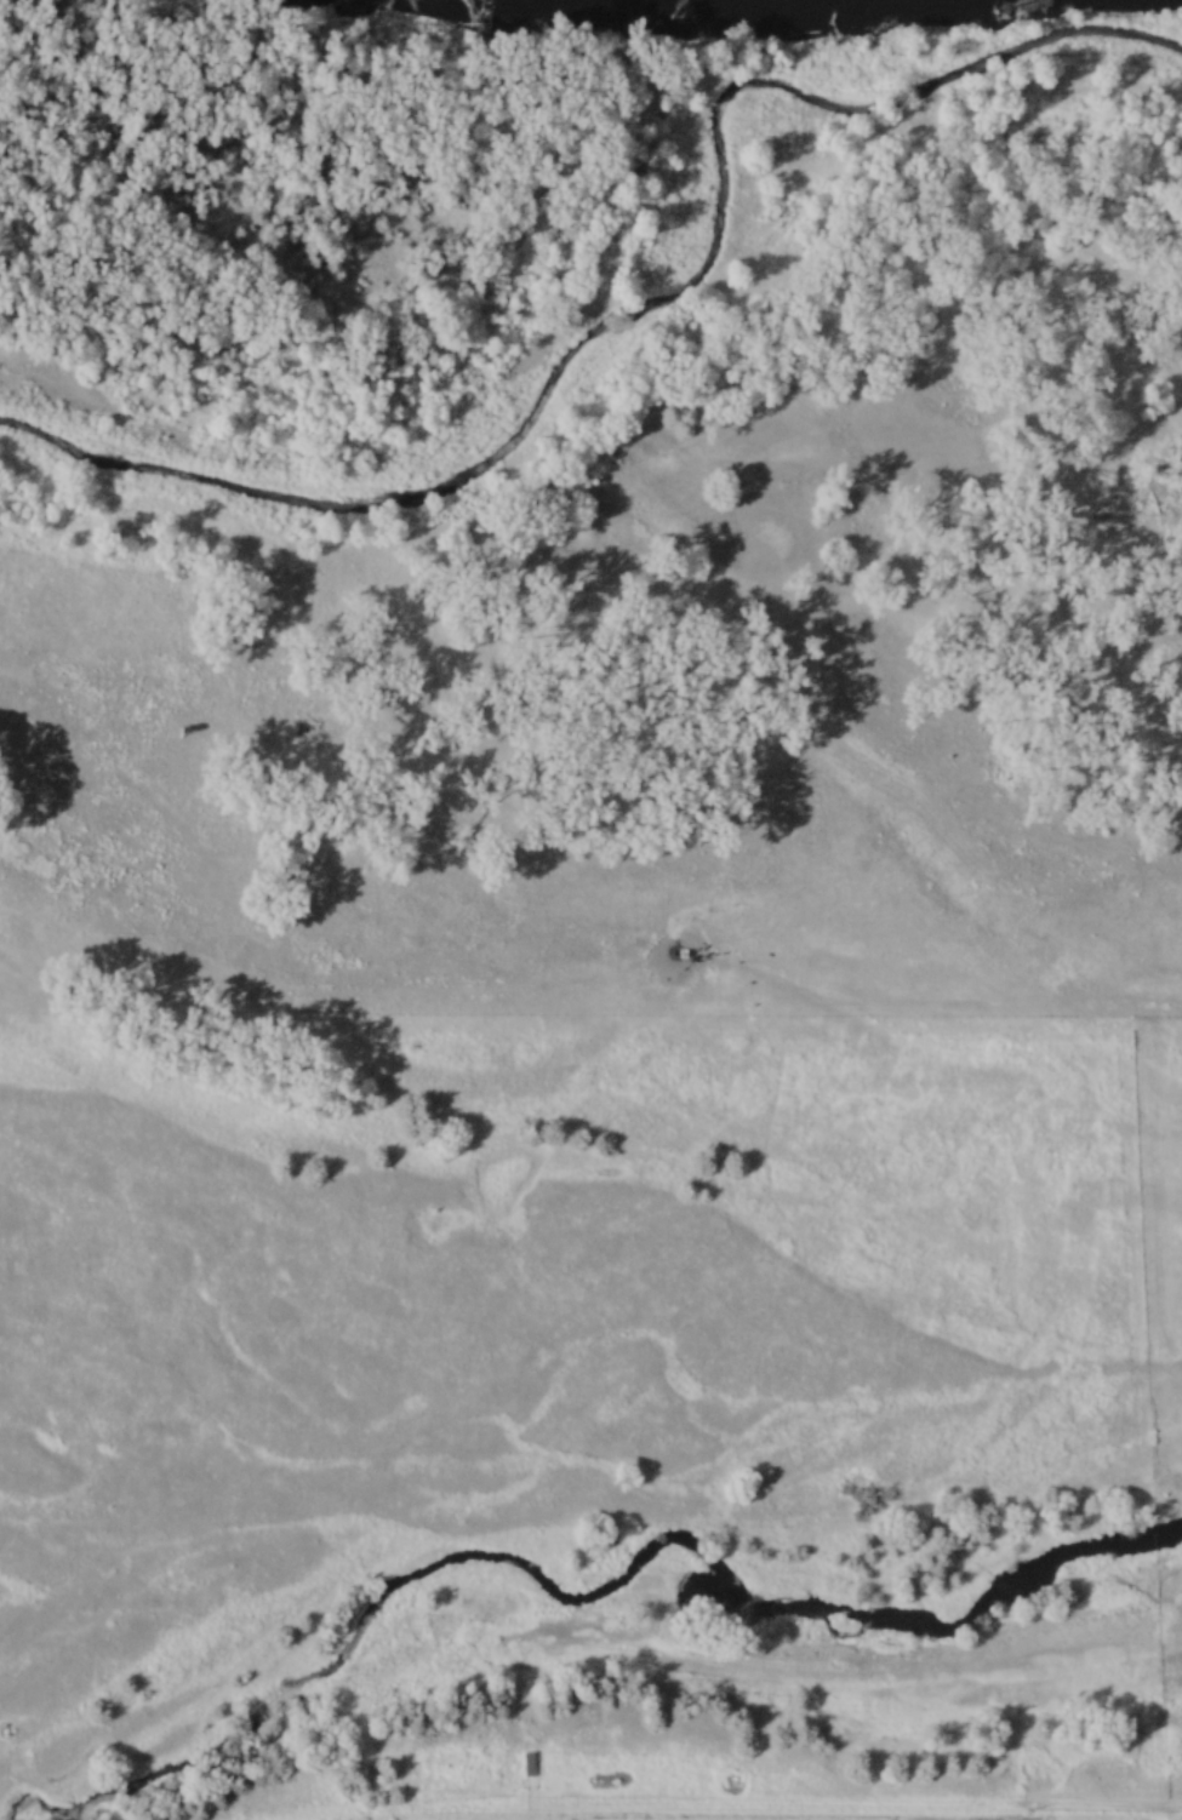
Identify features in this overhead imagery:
river: (632, 313)

